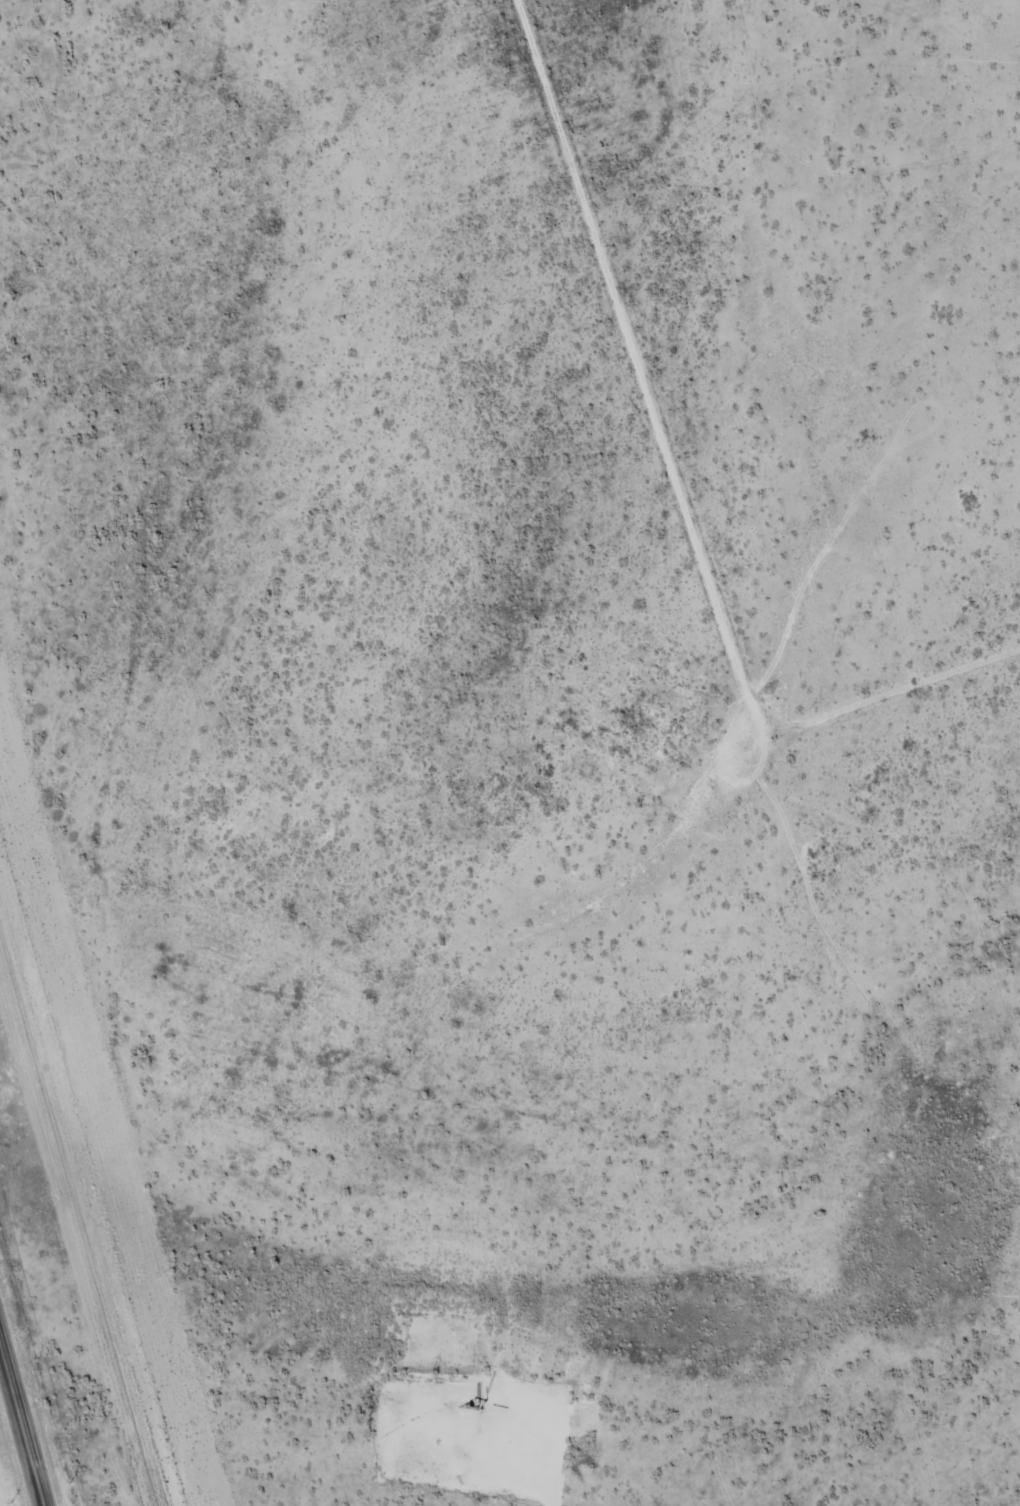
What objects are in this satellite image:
river: (570, 1345)
road: (22, 1421)

